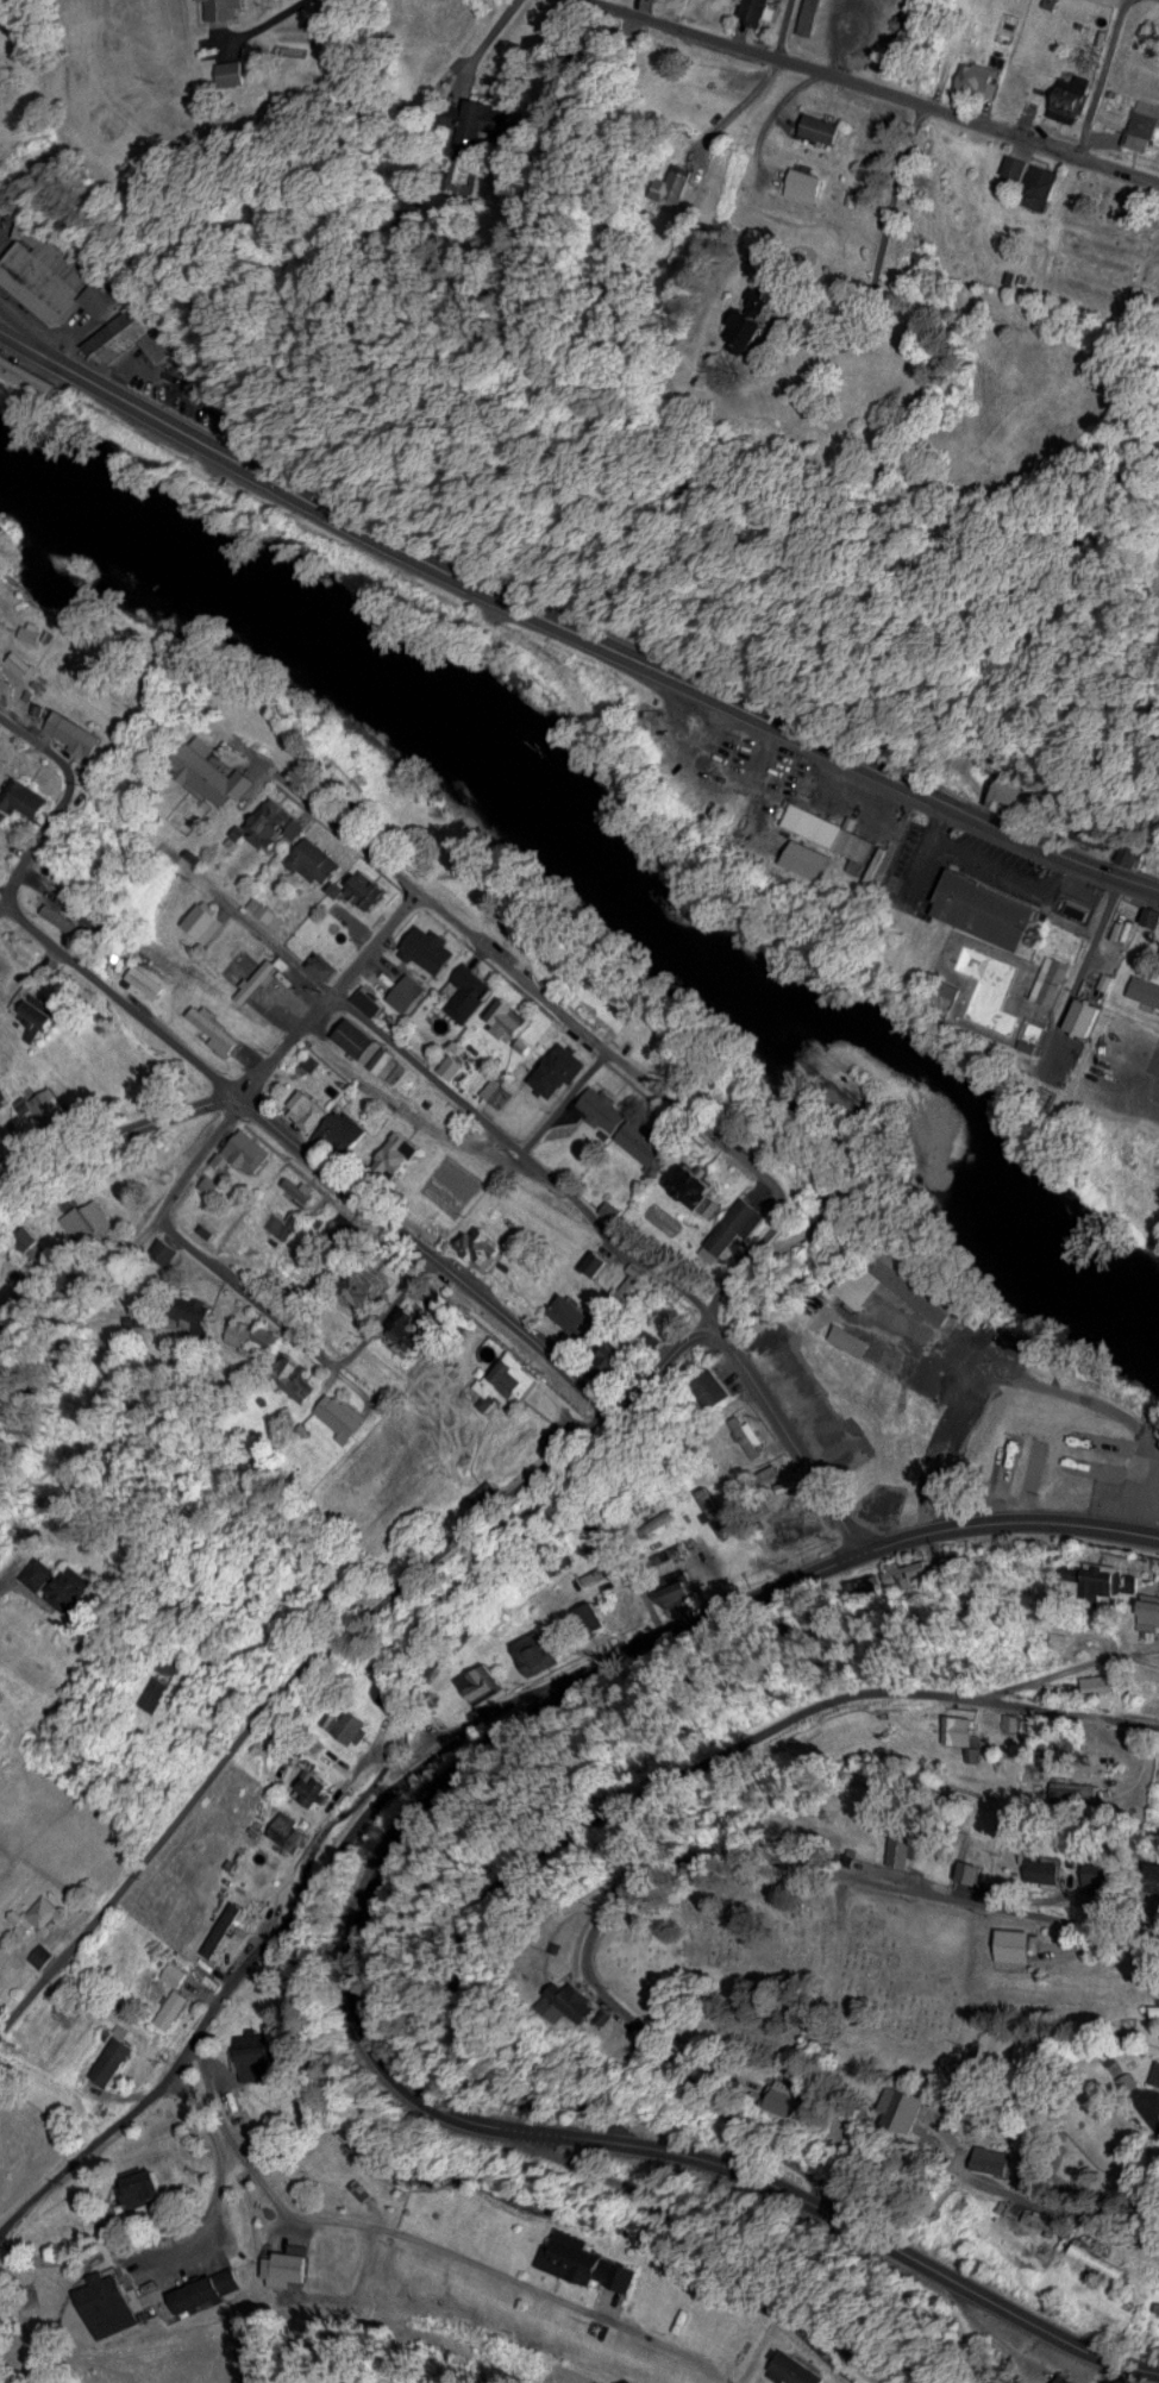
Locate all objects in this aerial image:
building: (224, 8)
building: (756, 11)
building: (813, 17)
road: (784, 25)
building: (237, 71)
building: (984, 71)
road: (1100, 79)
road: (881, 83)
building: (1072, 90)
building: (485, 120)
building: (1147, 124)
building: (826, 126)
building: (1014, 175)
building: (684, 182)
building: (812, 183)
building: (1042, 190)
park: (1107, 242)
road: (889, 262)
building: (56, 281)
building: (772, 316)
road: (84, 370)
building: (32, 631)
road: (658, 663)
building: (76, 729)
building: (217, 775)
road: (65, 791)
building: (25, 795)
building: (277, 821)
building: (1097, 832)
building: (837, 835)
building: (1136, 852)
building: (315, 859)
road: (991, 863)
river: (599, 865)
road: (920, 865)
building: (364, 888)
building: (992, 910)
building: (58, 915)
building: (1152, 916)
building: (206, 918)
road: (377, 946)
building: (430, 948)
building: (322, 964)
road: (1085, 972)
building: (145, 979)
building: (1051, 979)
building: (1145, 987)
road: (524, 989)
building: (470, 990)
building: (369, 1001)
building: (37, 1015)
building: (1090, 1015)
building: (508, 1017)
building: (215, 1026)
road: (289, 1047)
building: (372, 1048)
parking lot: (1128, 1062)
building: (560, 1067)
road: (1124, 1099)
building: (606, 1105)
building: (308, 1108)
building: (49, 1109)
building: (343, 1131)
building: (645, 1139)
road: (118, 1147)
building: (249, 1148)
building: (396, 1150)
road: (299, 1153)
building: (1157, 1159)
building: (700, 1183)
road: (558, 1184)
building: (734, 1227)
building: (84, 1229)
building: (483, 1244)
building: (163, 1249)
road: (121, 1255)
building: (294, 1269)
building: (632, 1277)
road: (214, 1279)
building: (363, 1284)
building: (926, 1292)
building: (194, 1309)
building: (575, 1313)
building: (413, 1328)
building: (253, 1335)
building: (295, 1377)
building: (513, 1378)
building: (720, 1386)
building: (343, 1412)
building: (1090, 1436)
road: (813, 1472)
building: (785, 1484)
building: (712, 1504)
road: (1008, 1517)
building: (792, 1523)
building: (69, 1581)
building: (676, 1581)
road: (5, 1589)
road: (377, 1600)
building: (1153, 1606)
building: (590, 1614)
road: (698, 1619)
building: (534, 1649)
road: (1069, 1666)
building: (481, 1681)
building: (161, 1691)
building: (390, 1695)
building: (350, 1723)
building: (5, 1725)
building: (961, 1729)
road: (768, 1741)
building: (312, 1783)
building: (289, 1829)
building: (904, 1846)
building: (1046, 1865)
building: (1105, 1870)
road: (784, 1873)
building: (240, 1883)
building: (42, 1912)
building: (223, 1937)
building: (1016, 1942)
road: (262, 1945)
park: (812, 1968)
building: (180, 1971)
building: (587, 2000)
building: (174, 2007)
building: (255, 2053)
building: (114, 2055)
building: (1158, 2081)
road: (537, 2089)
building: (790, 2097)
building: (904, 2107)
road: (1147, 2115)
road: (570, 2130)
road: (766, 2140)
building: (995, 2157)
building: (146, 2169)
building: (361, 2188)
road: (1073, 2220)
road: (289, 2225)
road: (425, 2241)
road: (161, 2244)
building: (1090, 2251)
building: (585, 2258)
building: (287, 2268)
road: (794, 2274)
building: (207, 2288)
building: (109, 2301)
road: (985, 2332)
building: (798, 2368)
building: (1071, 2379)

